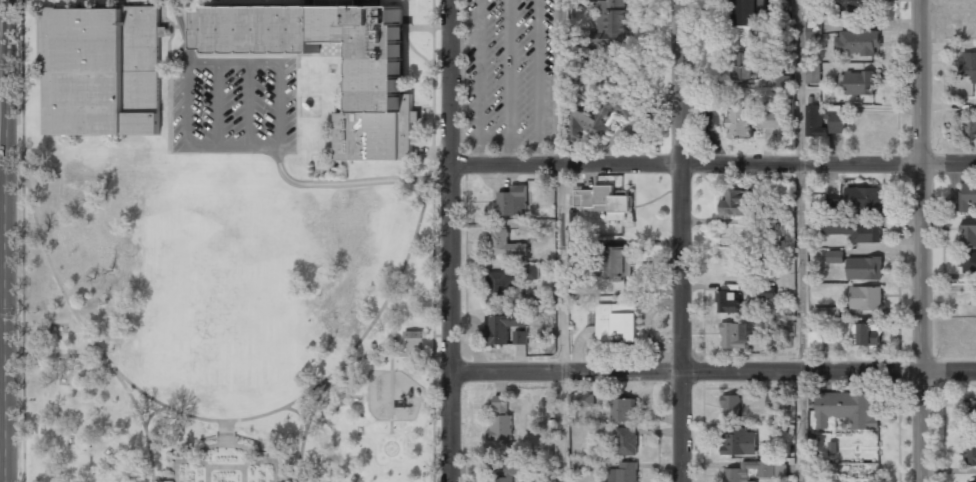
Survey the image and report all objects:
road: (327, 3)
building: (855, 7)
building: (749, 12)
building: (611, 23)
building: (813, 29)
building: (320, 42)
building: (857, 42)
road: (234, 62)
building: (970, 65)
building: (742, 66)
building: (101, 70)
building: (812, 73)
parking lot: (508, 74)
road: (480, 81)
road: (509, 81)
road: (538, 81)
building: (859, 83)
building: (784, 86)
road: (188, 105)
road: (218, 105)
road: (249, 105)
road: (280, 105)
parking lot: (235, 107)
building: (599, 117)
building: (771, 119)
building: (836, 119)
building: (814, 121)
building: (740, 122)
building: (970, 129)
building: (376, 133)
road: (203, 149)
road: (249, 149)
road: (716, 164)
road: (356, 183)
building: (968, 195)
building: (863, 199)
building: (603, 201)
building: (510, 202)
building: (735, 204)
building: (833, 205)
building: (854, 228)
building: (969, 233)
road: (456, 240)
road: (682, 240)
road: (803, 240)
road: (27, 241)
road: (436, 241)
road: (923, 241)
building: (506, 244)
building: (575, 248)
building: (835, 256)
building: (618, 261)
building: (967, 262)
building: (864, 268)
building: (531, 272)
building: (499, 287)
park: (221, 290)
building: (865, 298)
building: (728, 301)
building: (826, 311)
park: (226, 321)
building: (616, 321)
road: (565, 322)
building: (502, 327)
building: (414, 334)
building: (735, 334)
building: (520, 337)
building: (781, 341)
building: (815, 341)
road: (59, 343)
road: (62, 355)
road: (386, 355)
road: (65, 365)
road: (950, 368)
road: (689, 369)
road: (392, 394)
building: (580, 400)
building: (777, 403)
building: (731, 408)
building: (623, 410)
building: (845, 410)
building: (972, 411)
road: (298, 413)
road: (237, 420)
building: (500, 421)
road: (145, 425)
road: (307, 427)
road: (0, 429)
building: (626, 441)
building: (739, 442)
road: (208, 446)
building: (970, 454)
road: (179, 460)
road: (273, 461)
road: (247, 464)
building: (508, 471)
building: (753, 471)
building: (623, 473)
road: (244, 474)
road: (165, 477)
road: (288, 478)
building: (815, 481)

